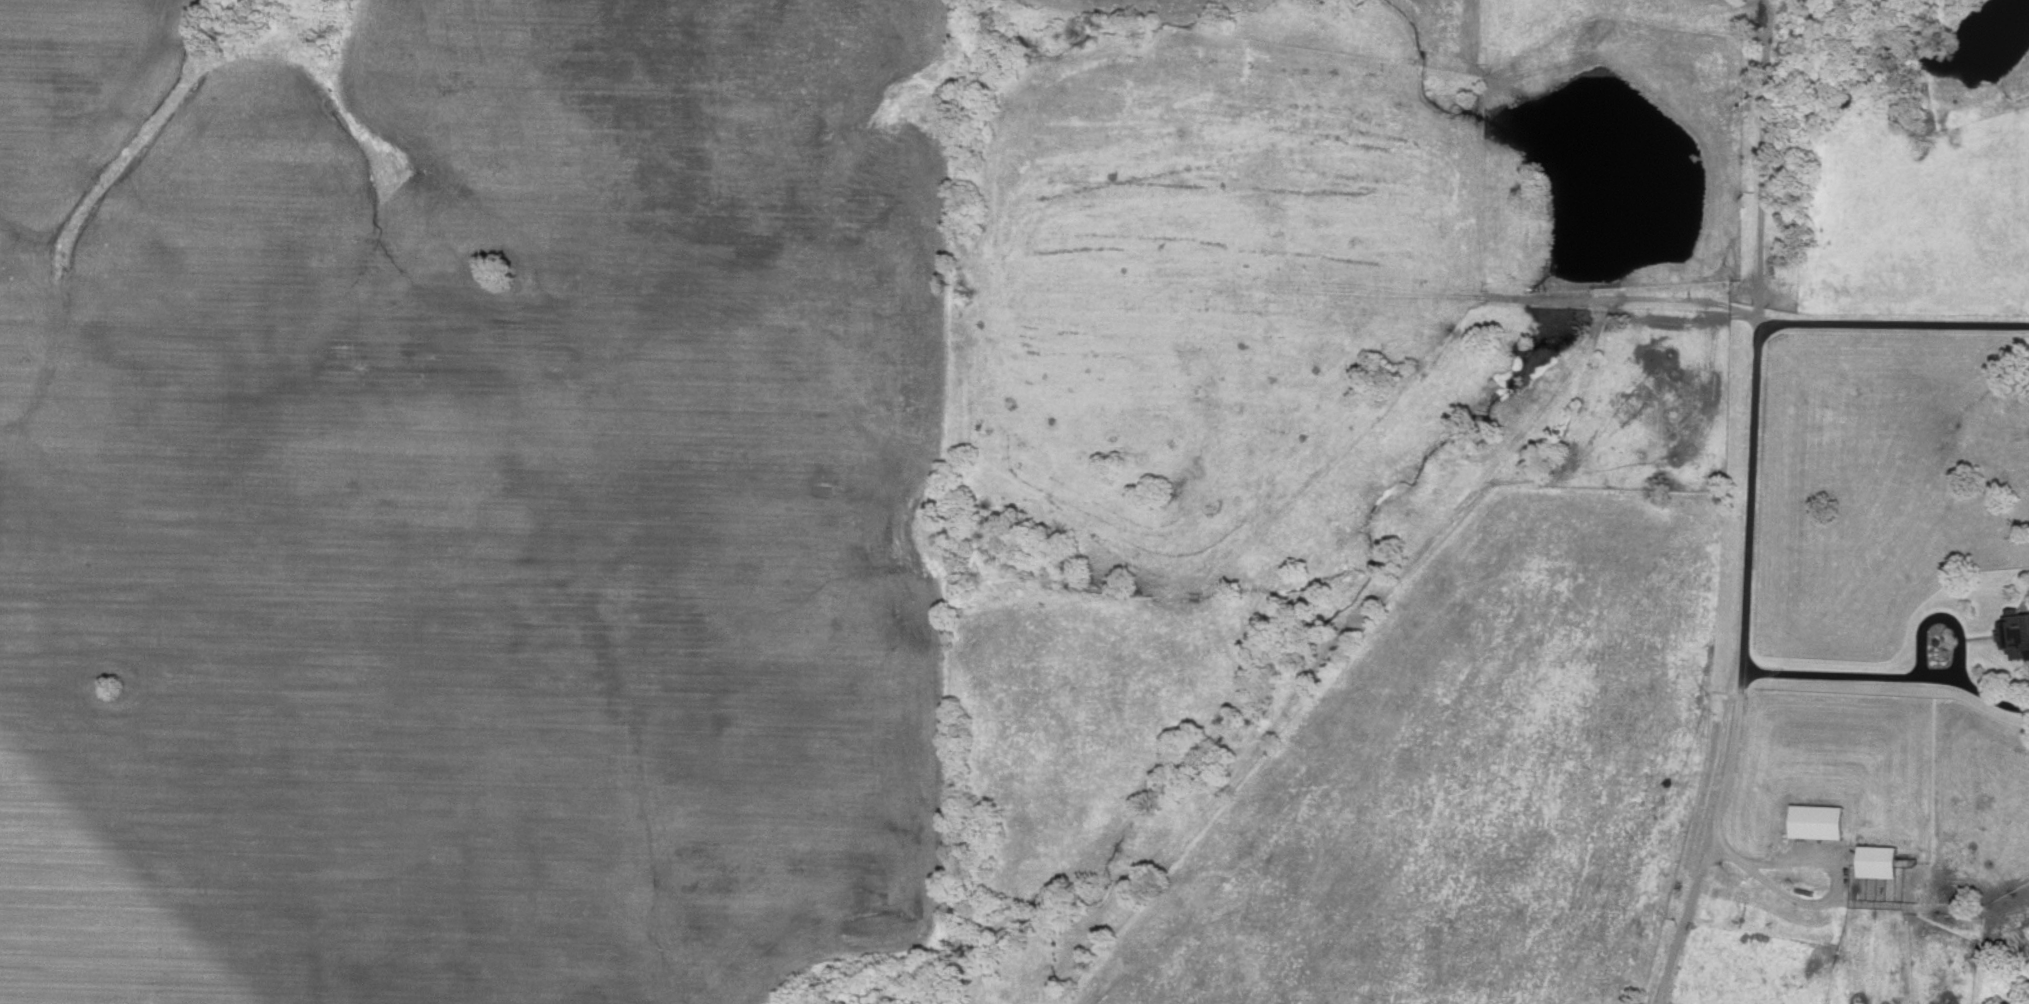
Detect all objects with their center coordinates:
road: (1752, 475)
railway: (1750, 508)
building: (2017, 631)
building: (1820, 820)
building: (1880, 859)

